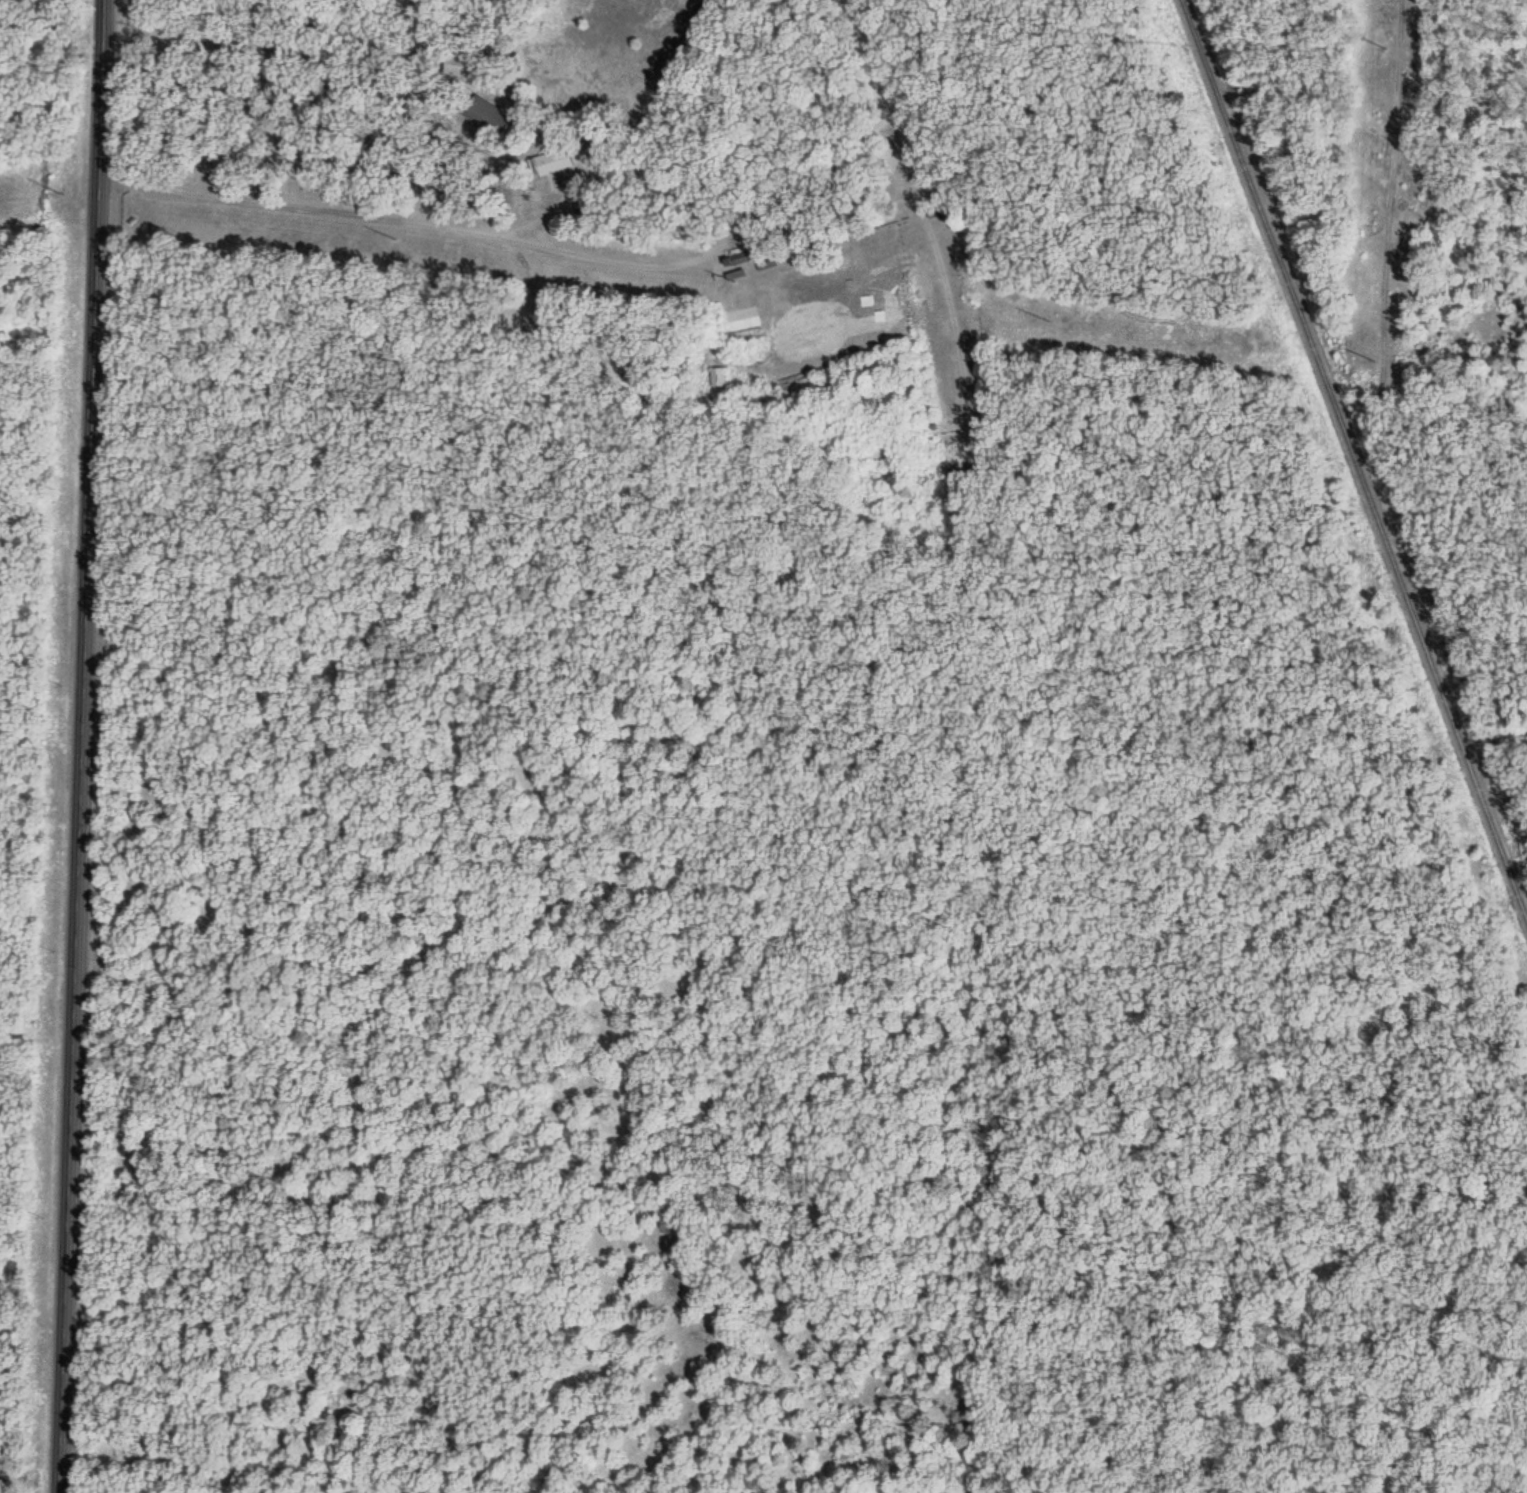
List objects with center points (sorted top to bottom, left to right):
building: (457, 61)
building: (484, 112)
building: (546, 159)
building: (933, 188)
road: (560, 199)
building: (933, 210)
building: (732, 255)
building: (763, 262)
road: (622, 264)
building: (744, 270)
building: (731, 271)
building: (867, 301)
road: (530, 307)
building: (855, 307)
building: (880, 317)
building: (735, 320)
building: (713, 375)
building: (628, 378)
railway: (1353, 461)
road: (80, 746)
landfill: (9, 1387)

